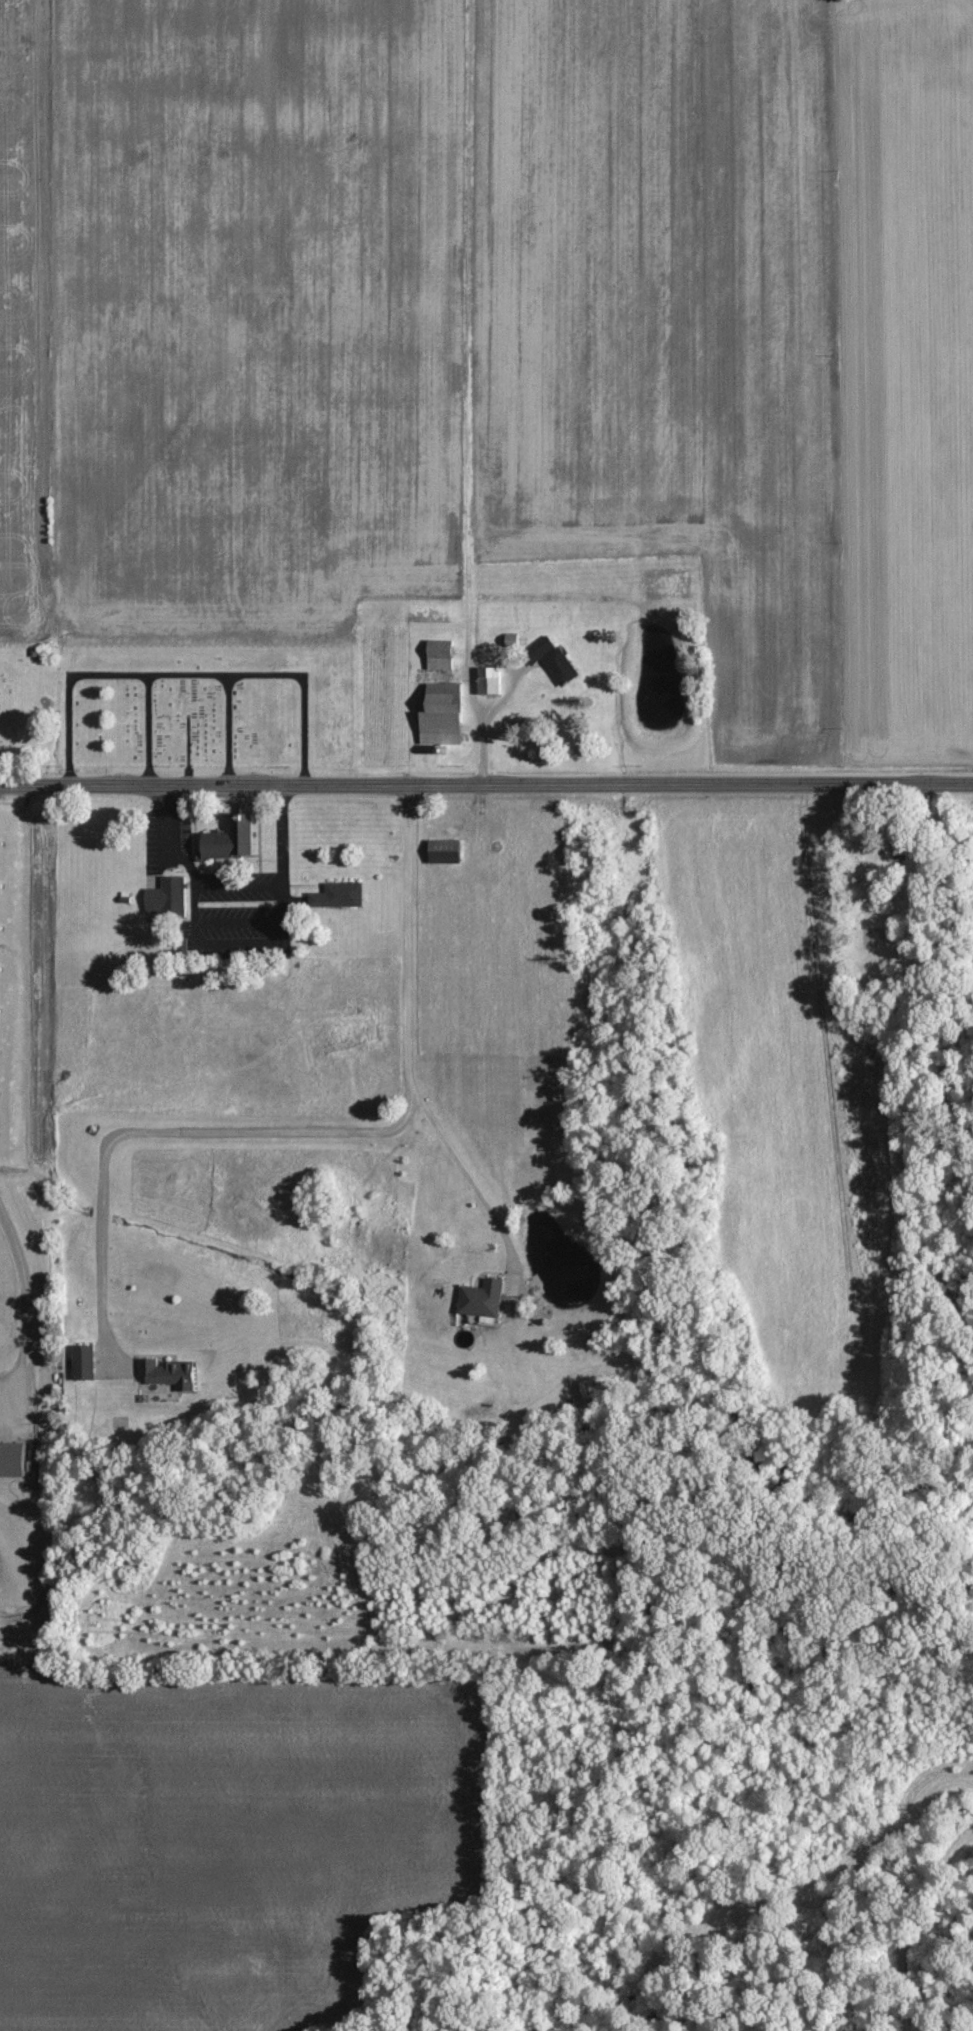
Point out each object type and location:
building: (443, 655)
building: (559, 659)
building: (490, 680)
building: (447, 715)
road: (486, 785)
building: (234, 841)
building: (167, 897)
building: (340, 897)
road: (323, 1143)
road: (464, 1190)
building: (485, 1299)
building: (86, 1363)
building: (171, 1374)
building: (15, 1461)

